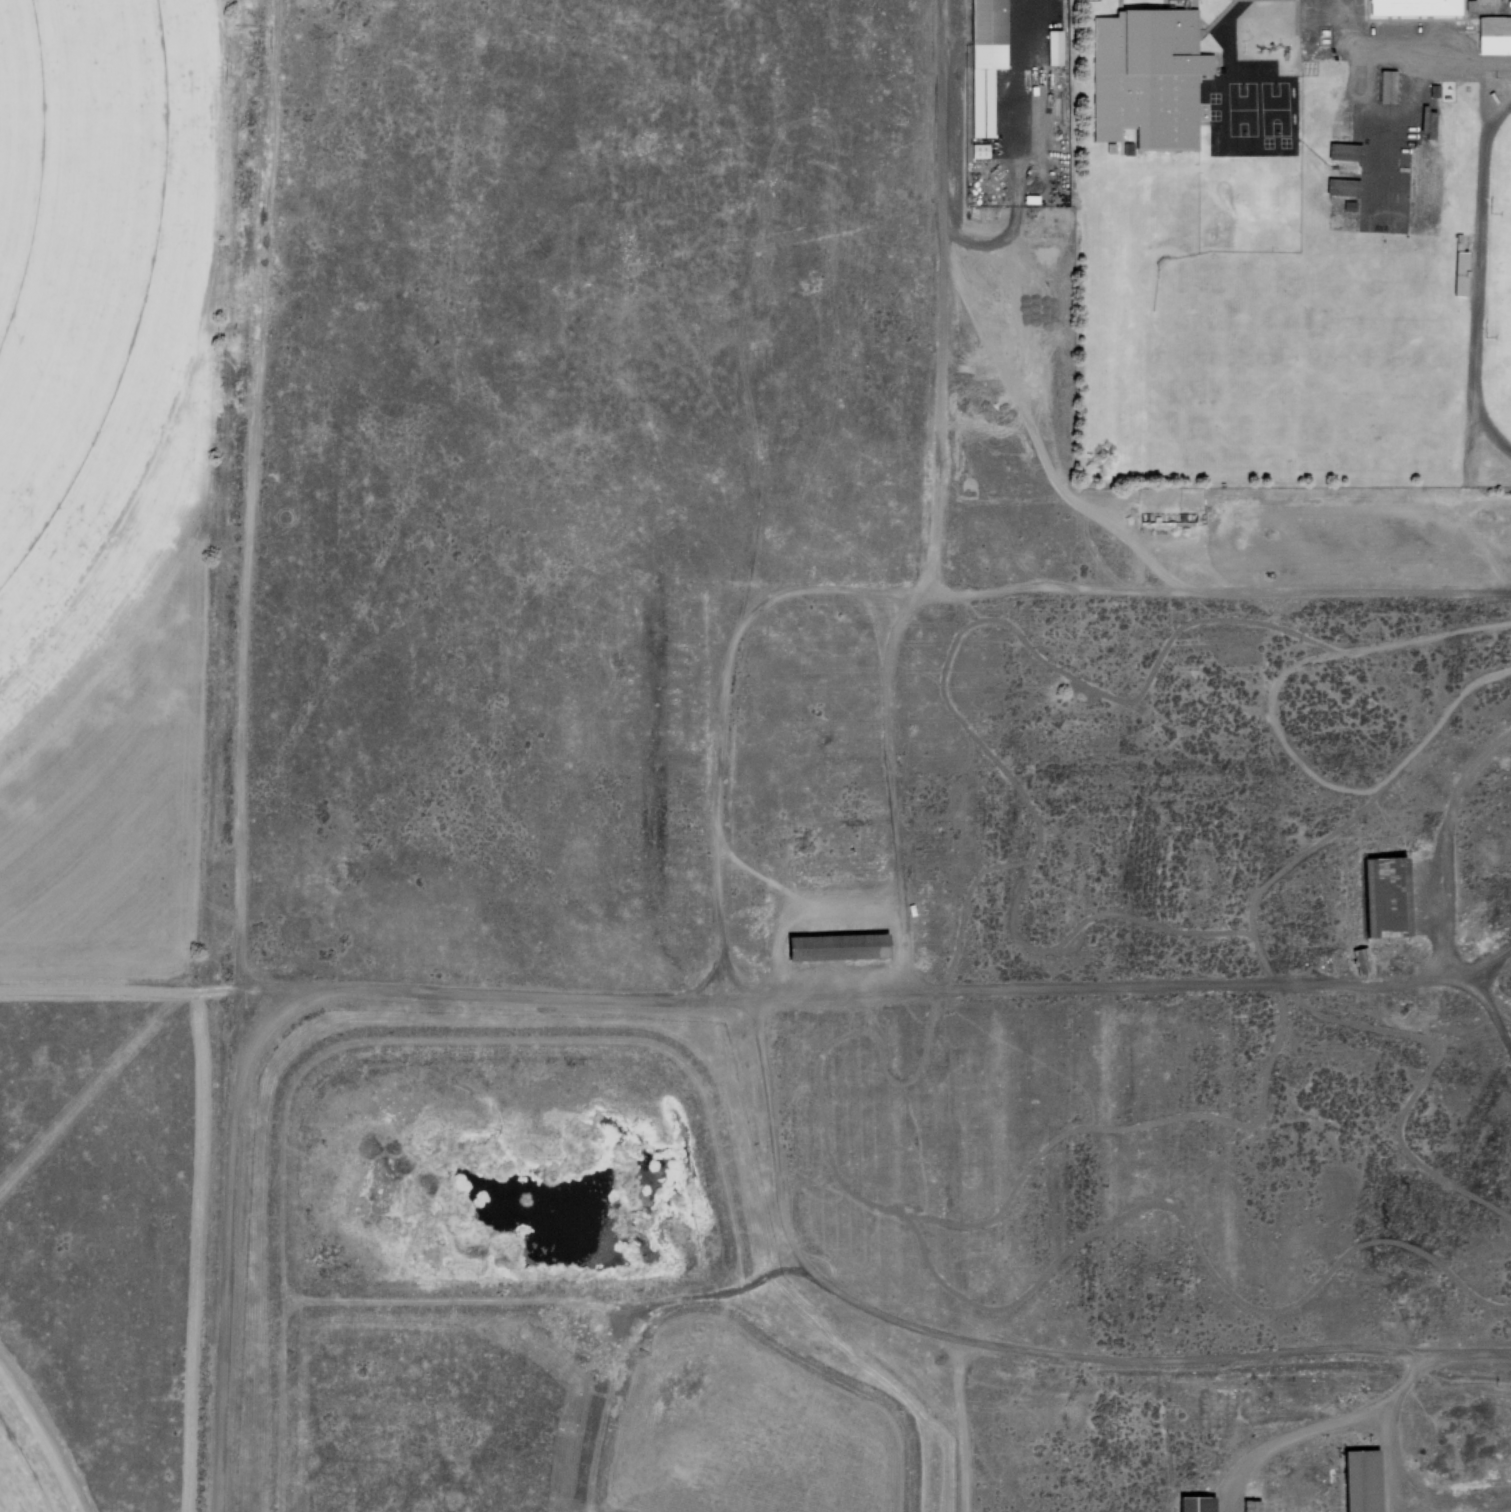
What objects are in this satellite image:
building: (1415, 8)
building: (1494, 34)
building: (1054, 45)
building: (985, 60)
building: (1148, 77)
building: (1386, 85)
road: (948, 100)
park: (1272, 107)
park: (1239, 108)
building: (1427, 121)
building: (1345, 151)
building: (1341, 186)
building: (1461, 275)
park: (1498, 279)
park: (1235, 342)
building: (1165, 518)
road: (929, 597)
building: (1387, 897)
building: (831, 943)
building: (1362, 961)
road: (648, 1009)
road: (1489, 1015)
wastewater plant: (502, 1185)
road: (1016, 1353)
wastewater plant: (447, 1417)
wastewater plant: (751, 1437)
building: (1355, 1480)
building: (1191, 1503)

